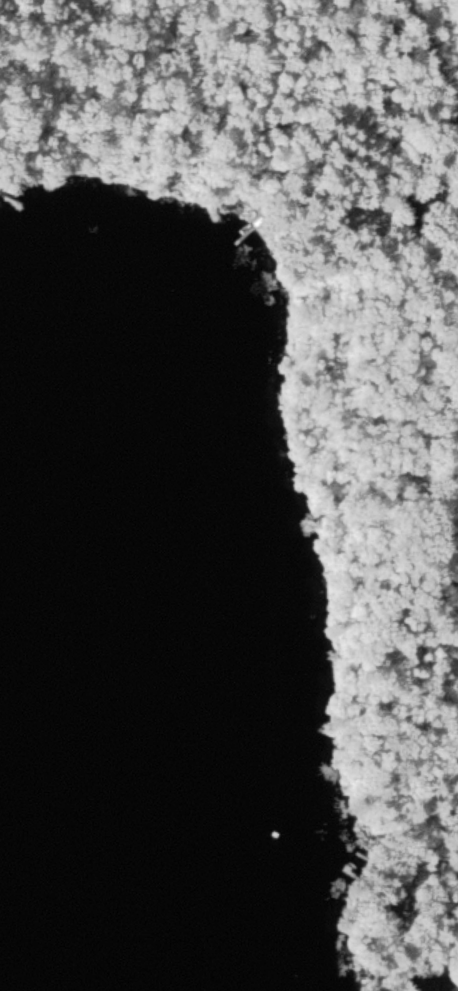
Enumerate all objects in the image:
road: (456, 2)

